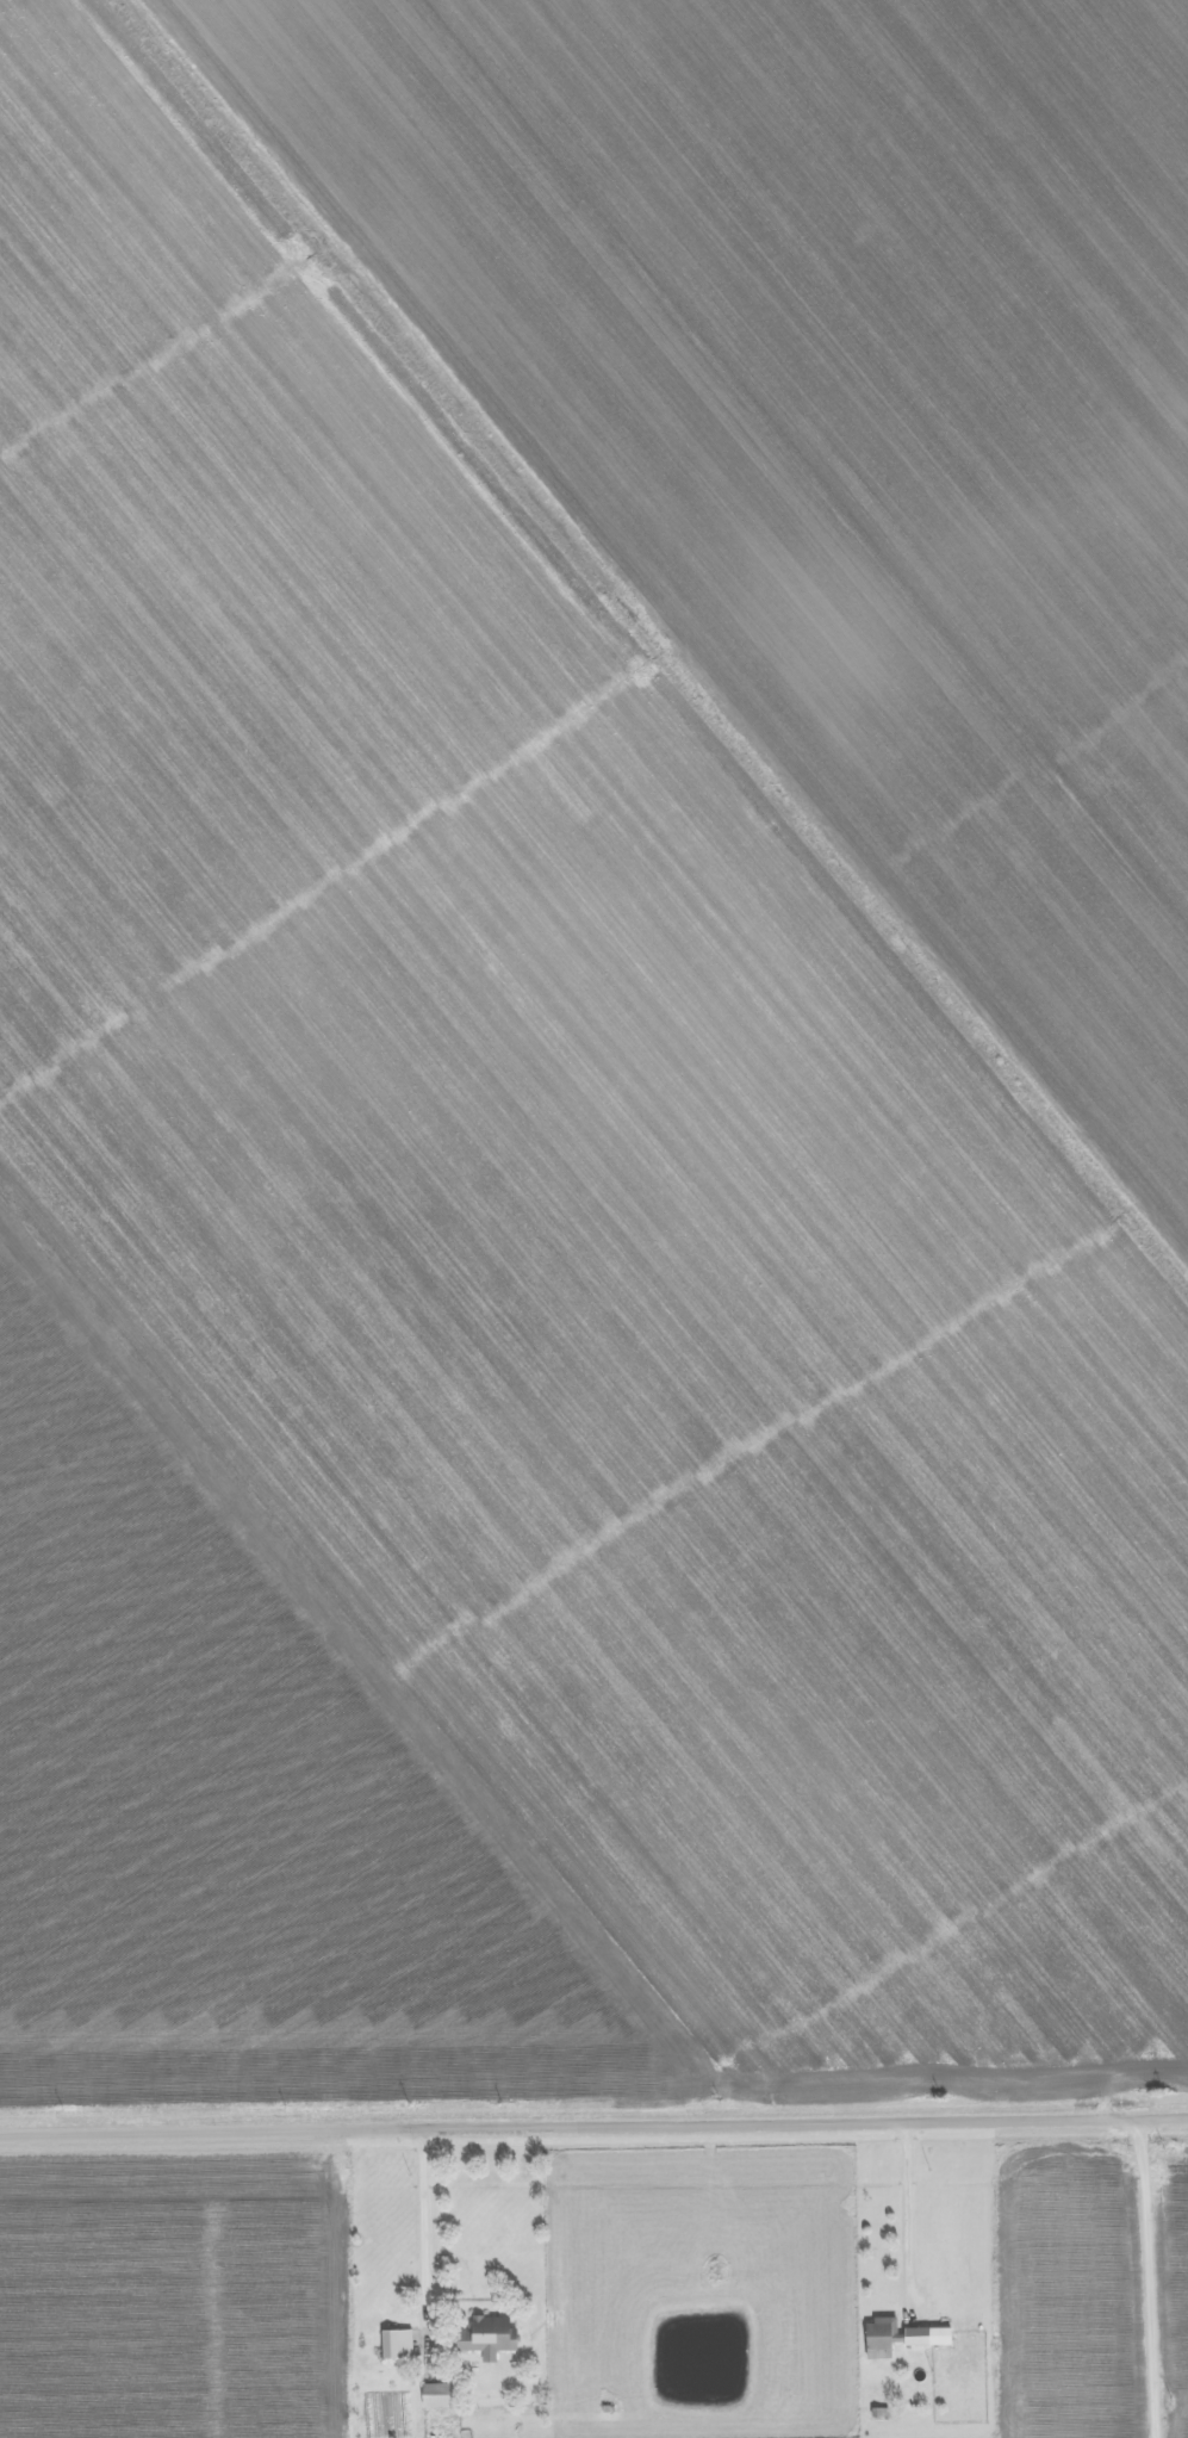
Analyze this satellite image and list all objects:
road: (593, 2120)
road: (1142, 2276)
building: (486, 2332)
building: (397, 2344)
building: (437, 2396)

